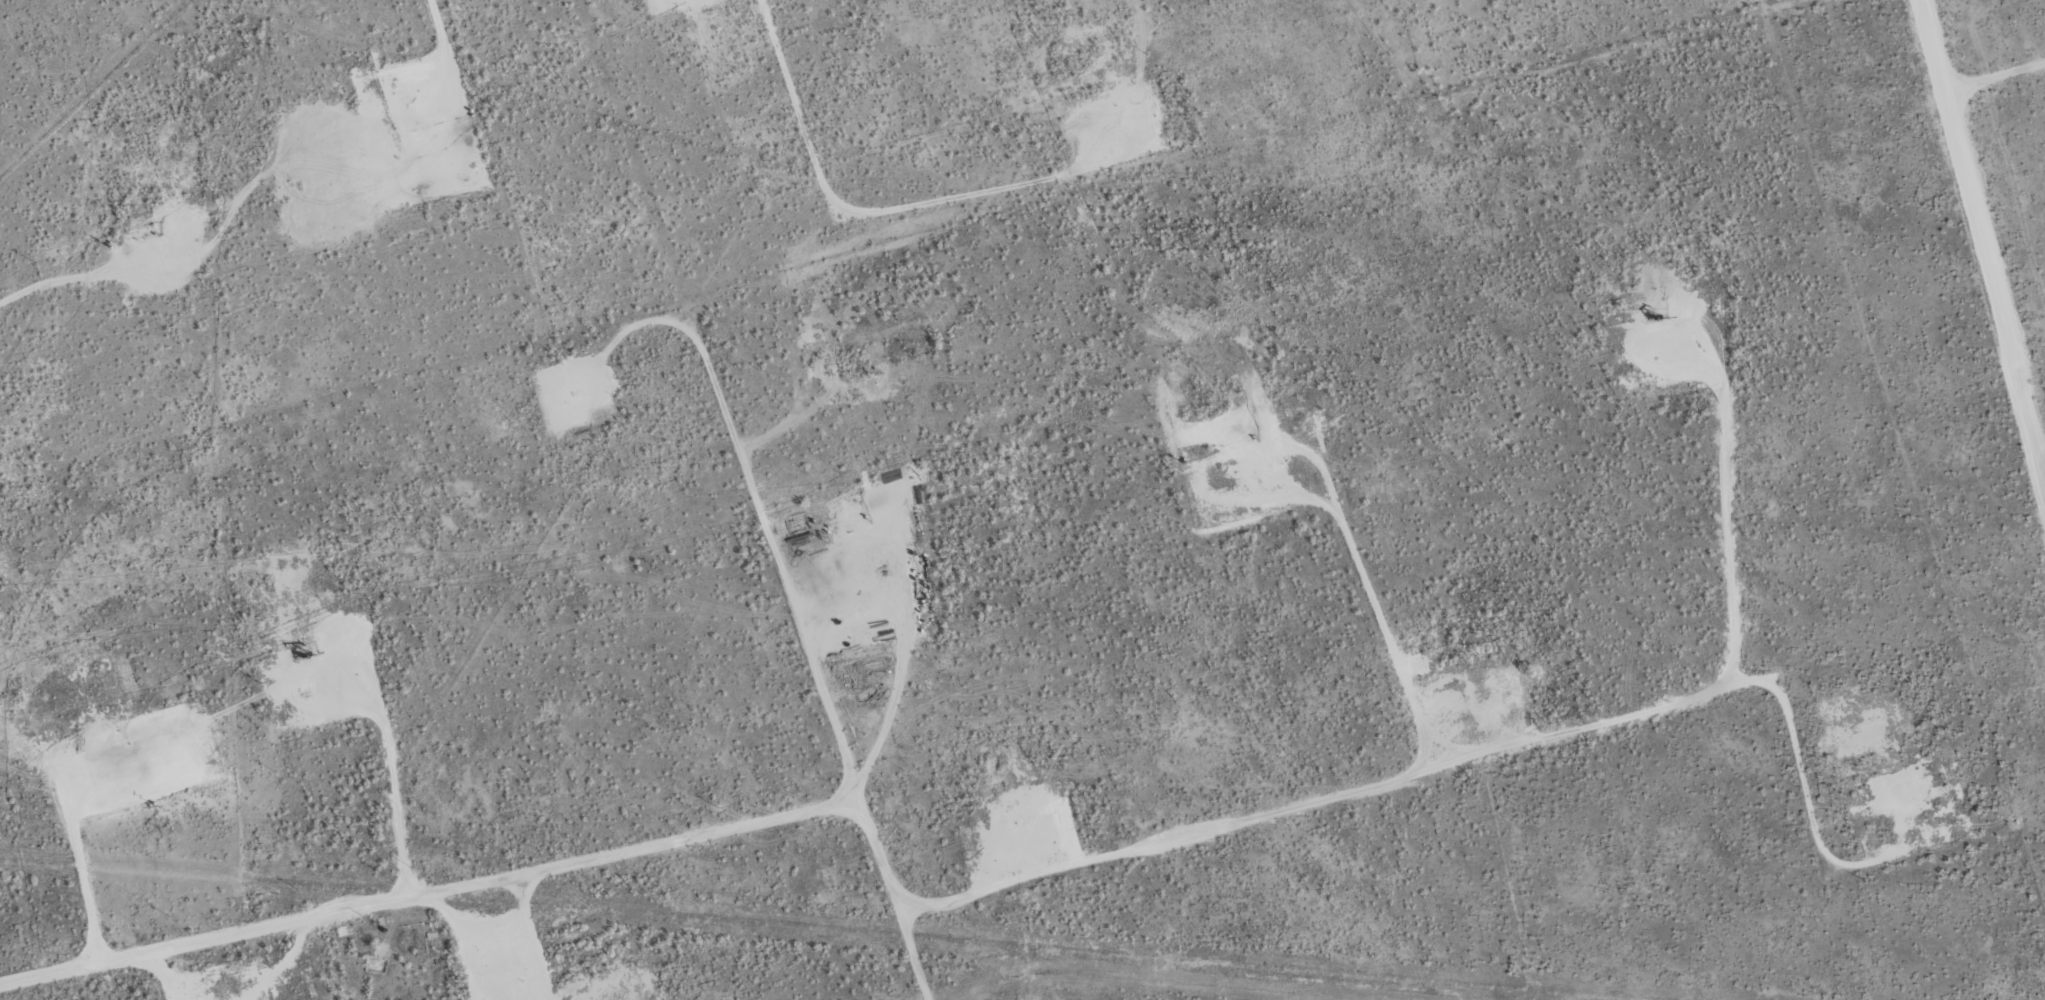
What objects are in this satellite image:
road: (1852, 500)
road: (439, 890)

